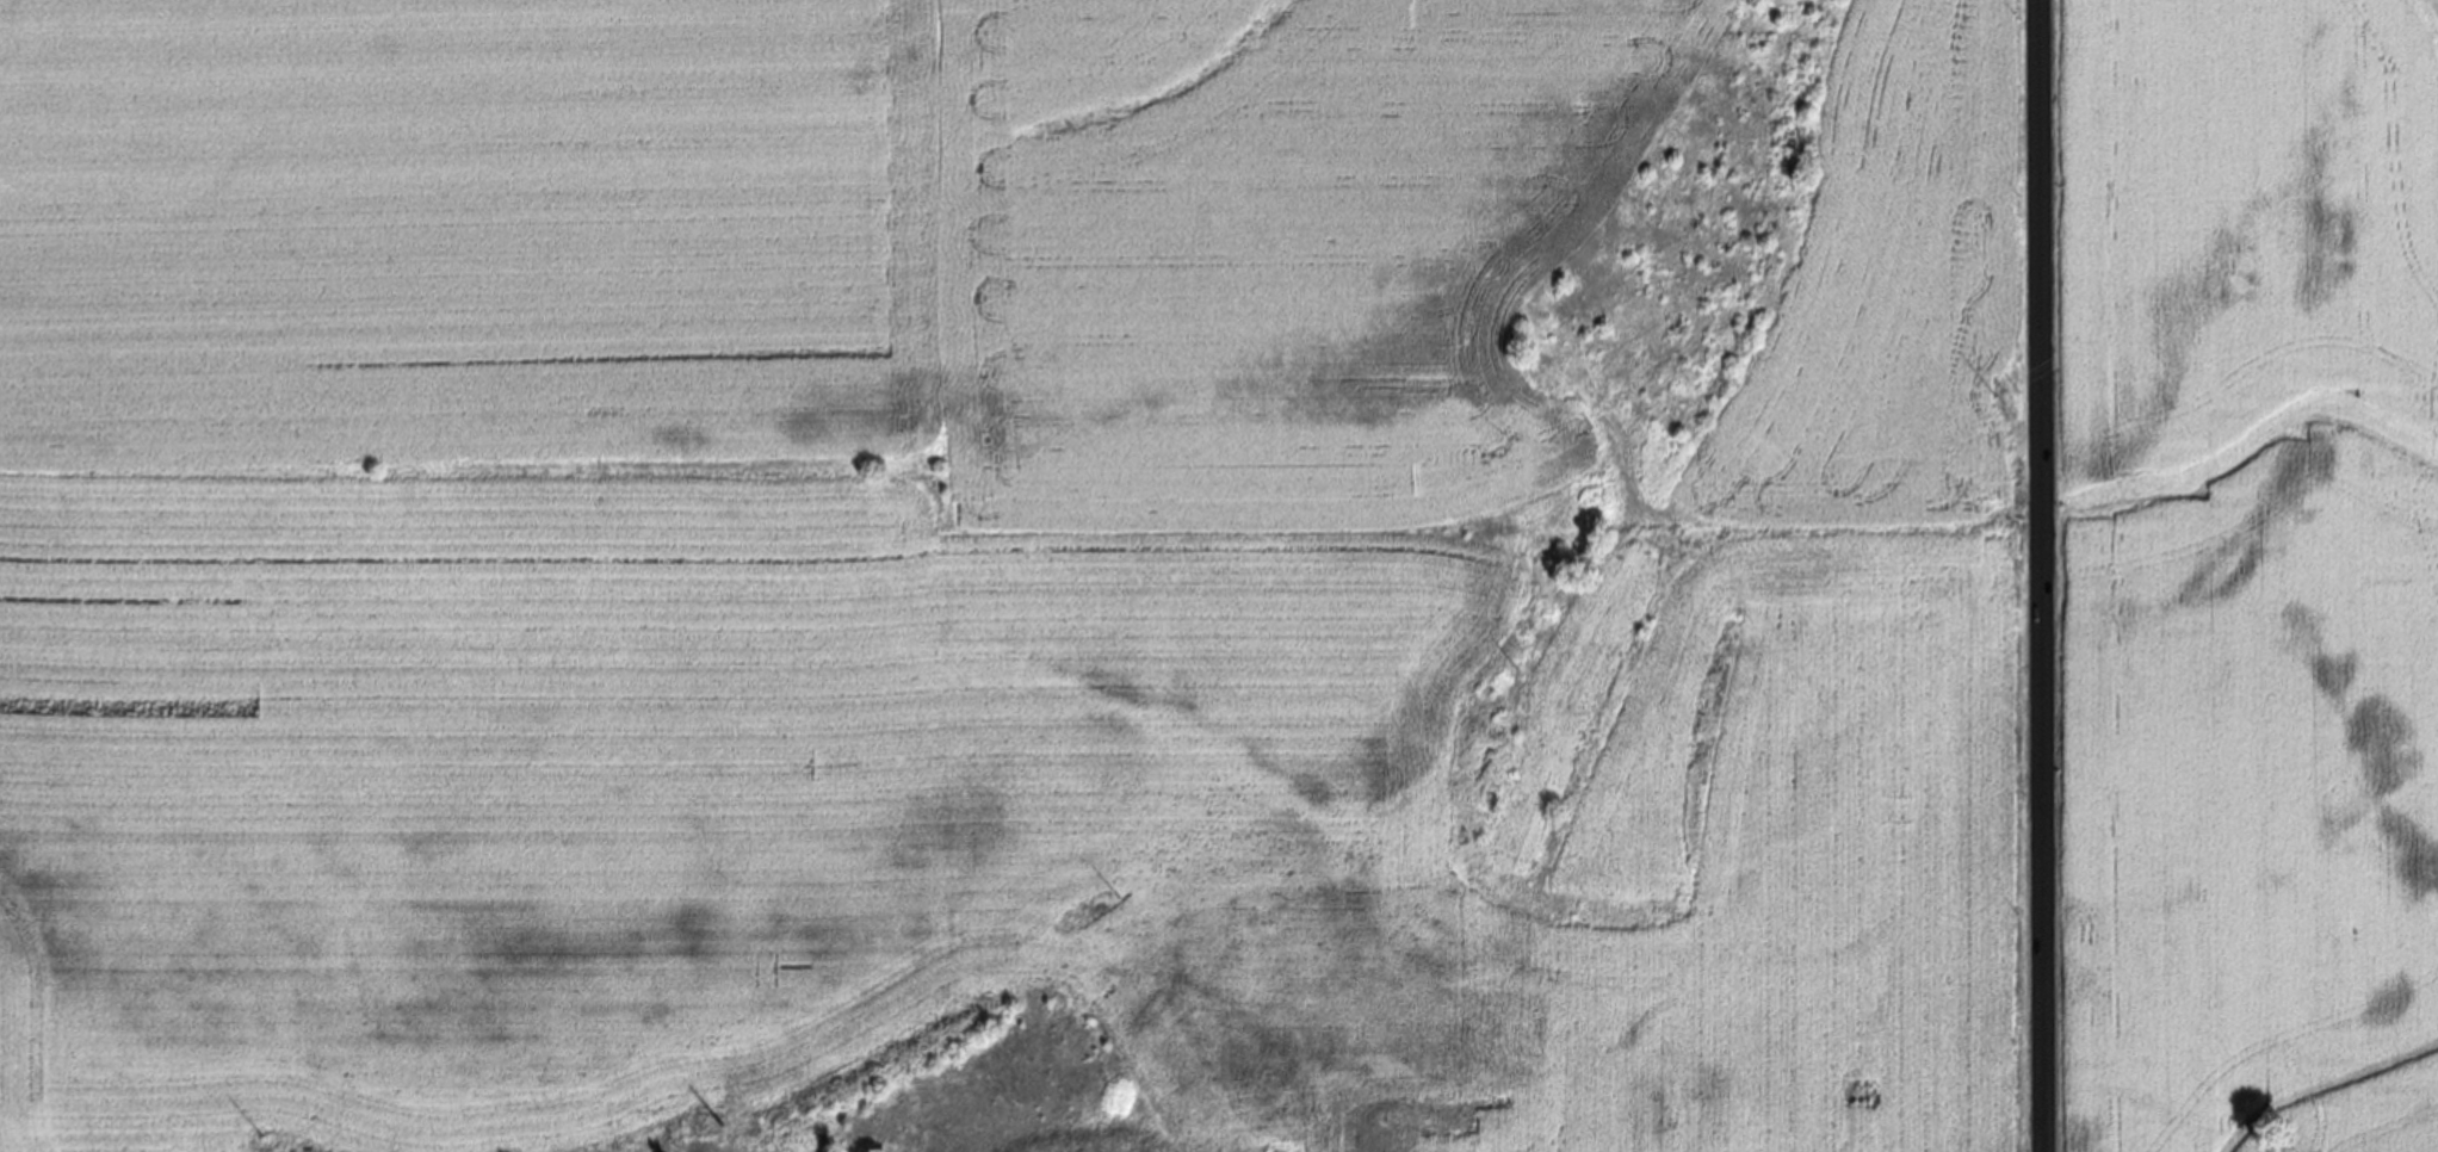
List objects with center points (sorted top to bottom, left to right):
road: (2040, 575)

